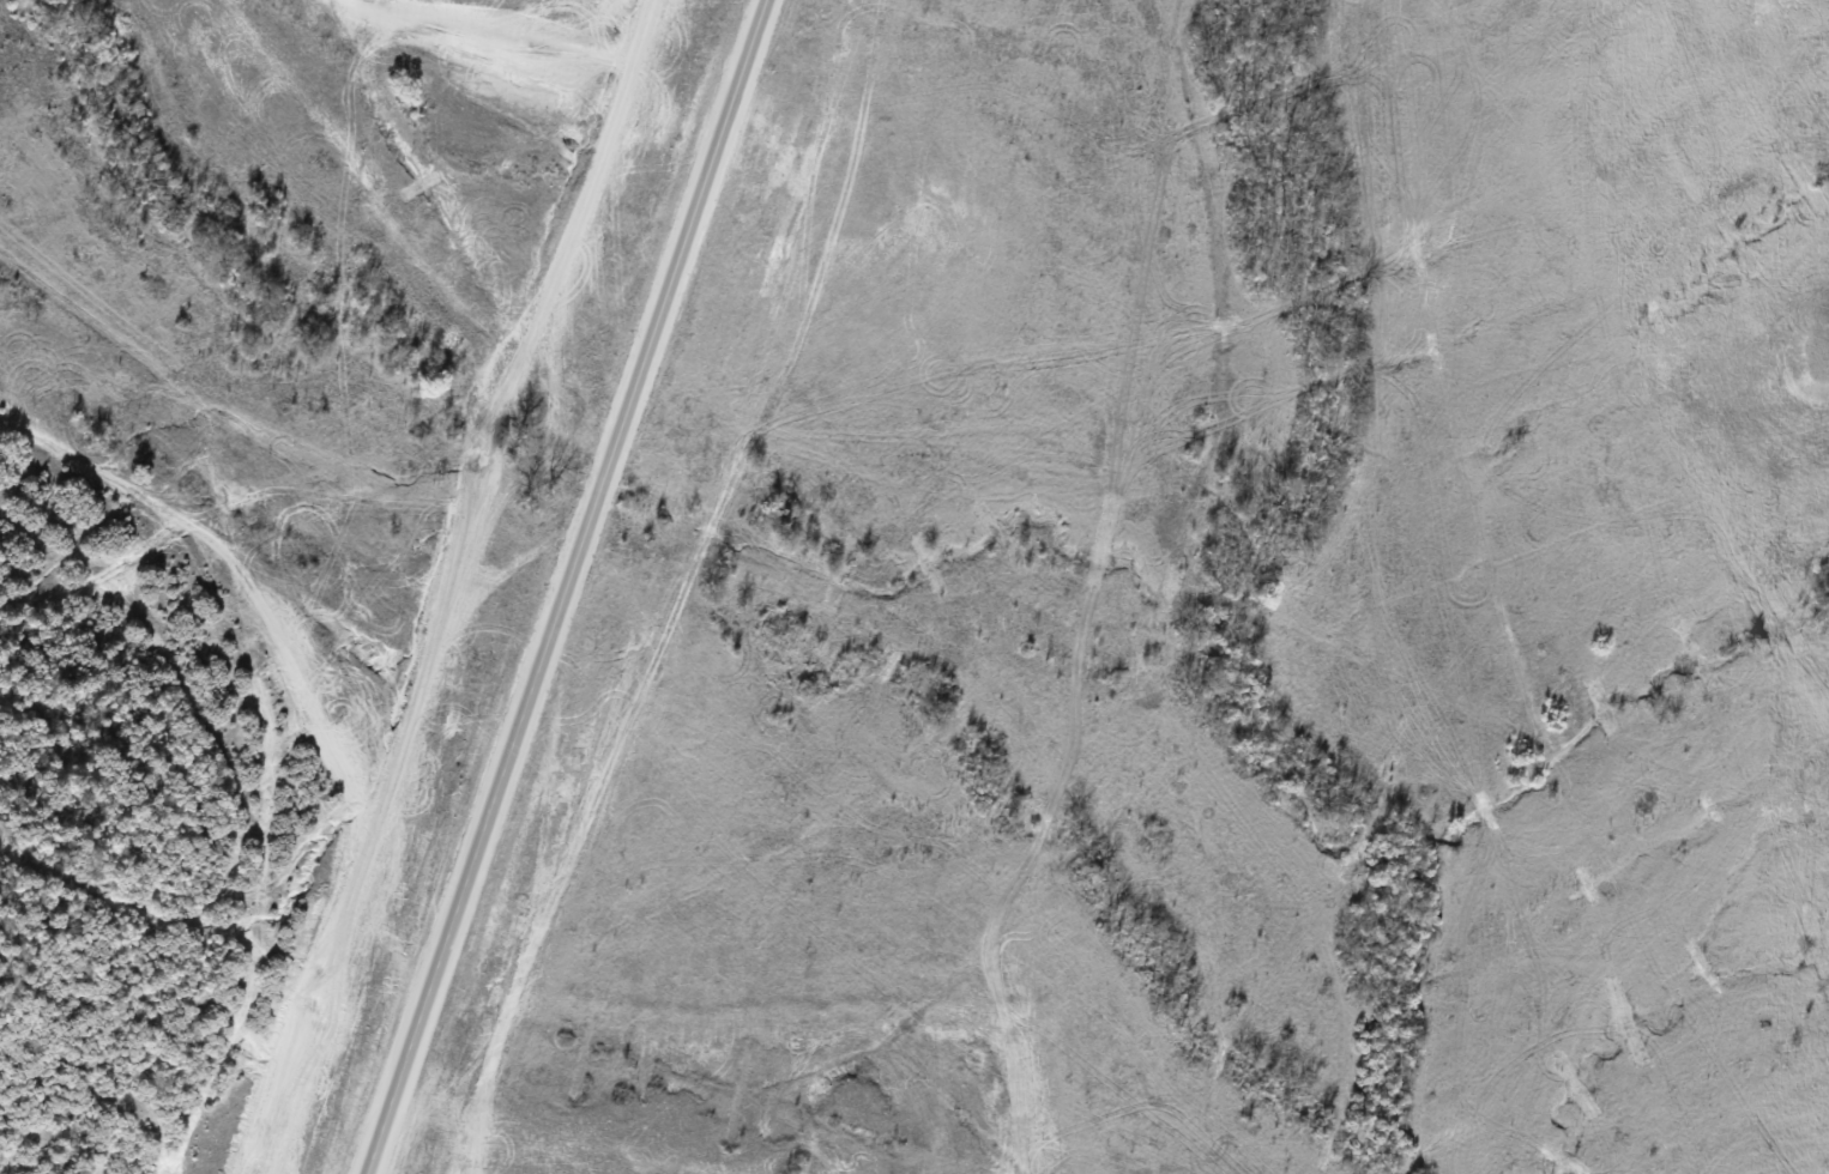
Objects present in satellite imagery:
road: (443, 583)
road: (565, 587)

